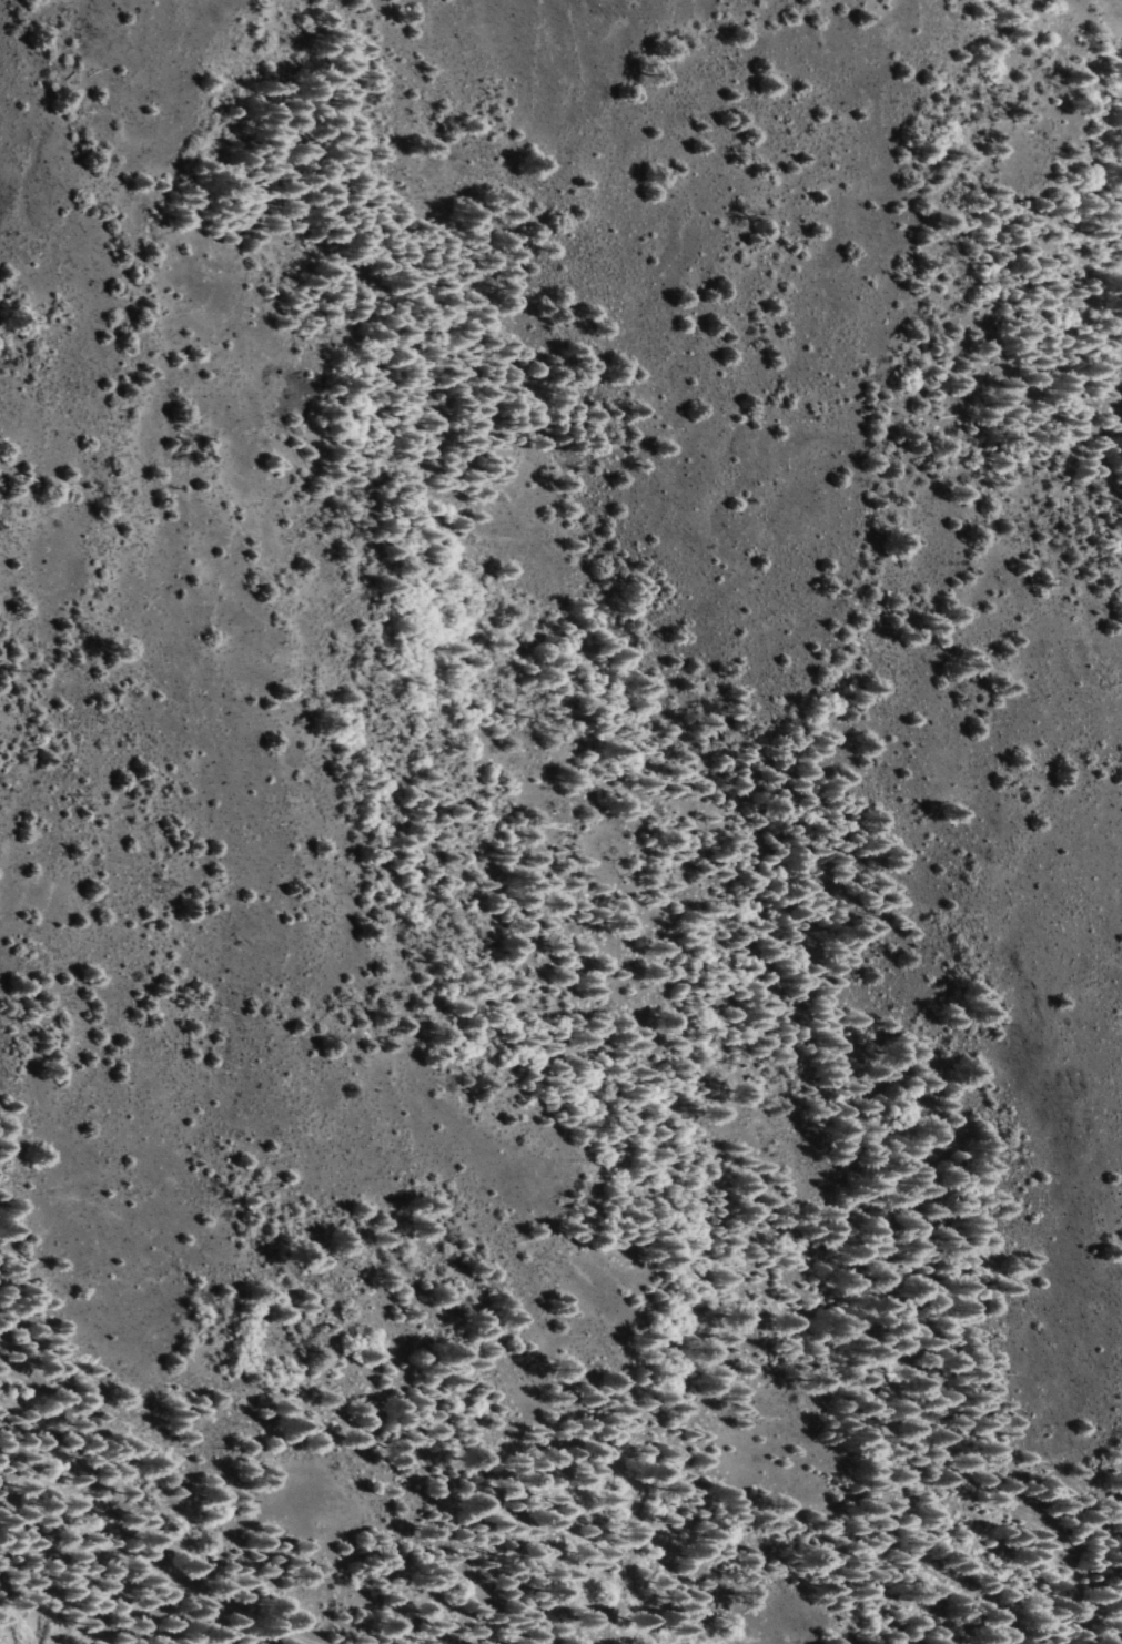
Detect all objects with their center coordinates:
road: (165, 1574)

